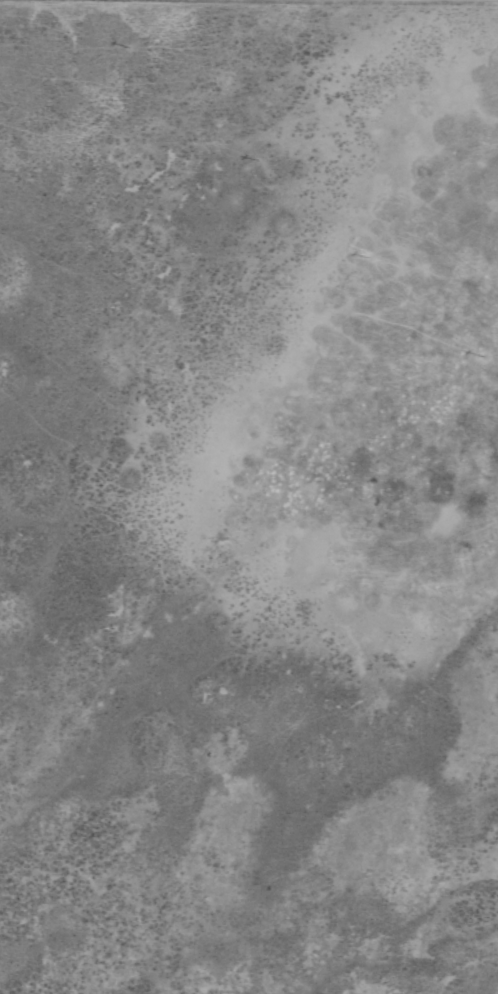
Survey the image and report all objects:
road: (249, 15)
crop: (249, 497)

